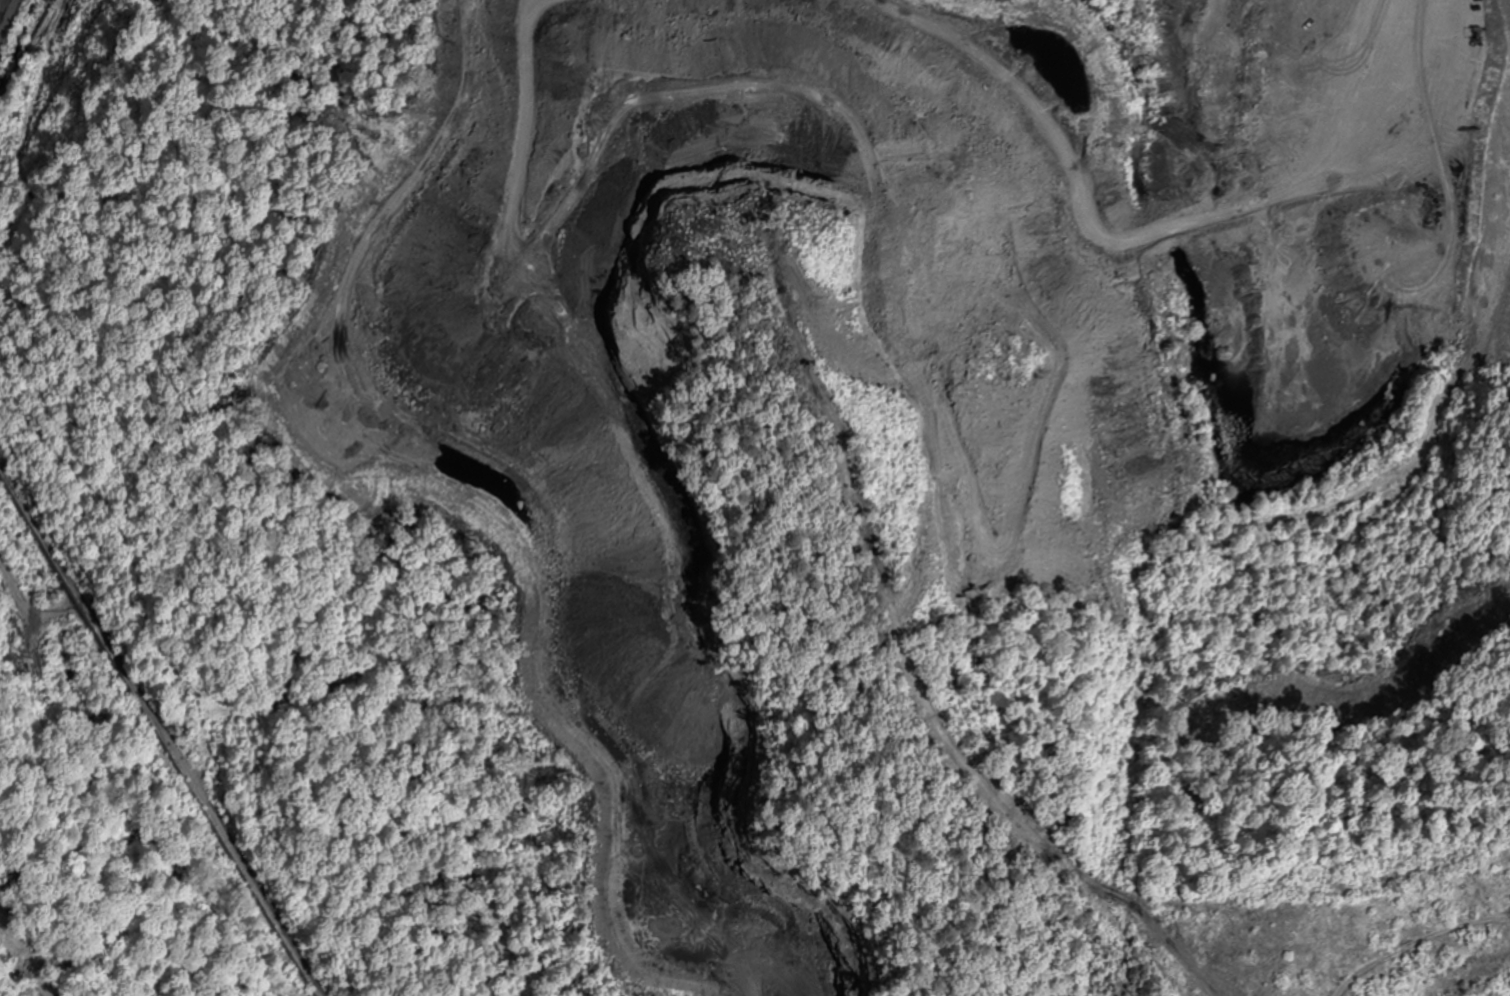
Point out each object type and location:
quarry: (1299, 153)
quarry: (81, 297)

